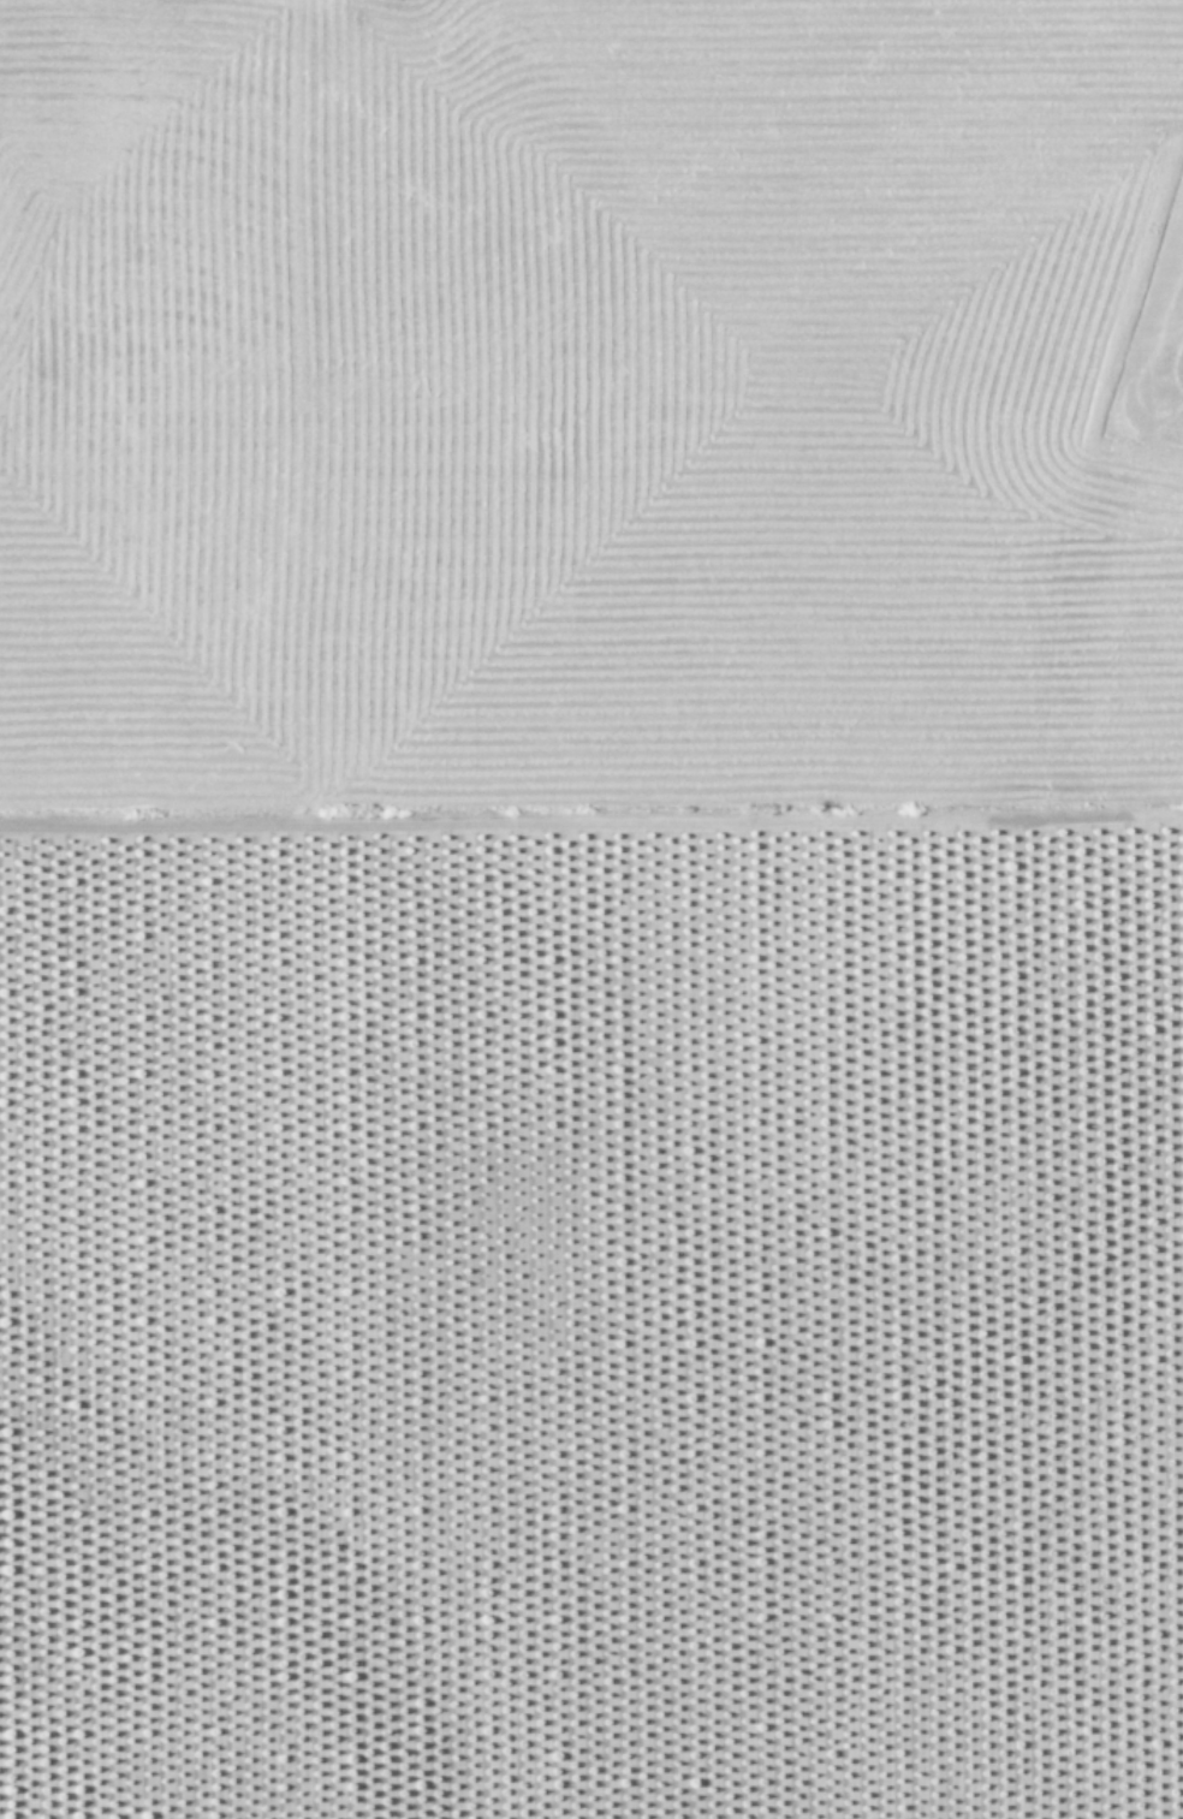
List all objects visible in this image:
crop: (591, 909)

